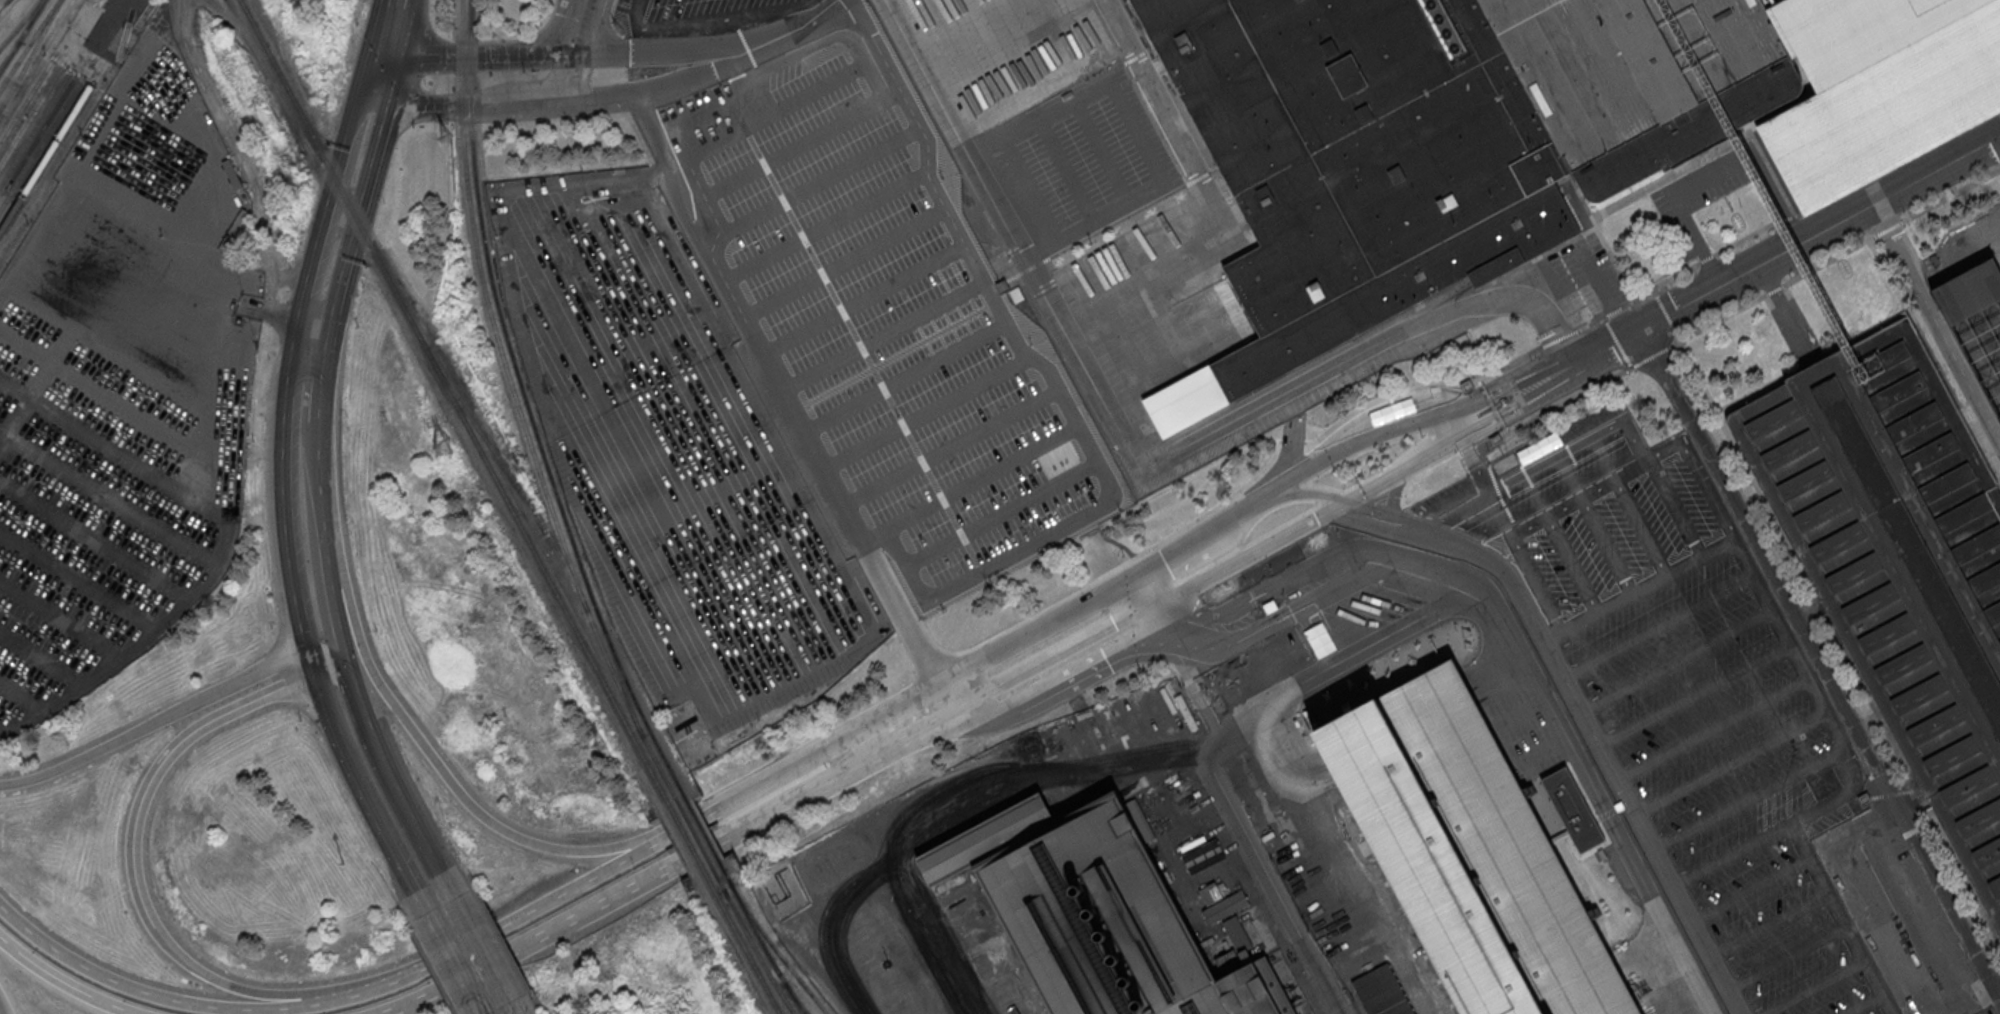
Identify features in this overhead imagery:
railway: (1999, 0)
road: (825, 14)
railway: (472, 15)
parking lot: (701, 16)
road: (712, 18)
railway: (20, 24)
road: (396, 27)
road: (1984, 28)
road: (561, 32)
railway: (22, 35)
railway: (29, 44)
road: (878, 46)
road: (667, 49)
traffic signals: (589, 51)
traffic signals: (535, 52)
railway: (9, 54)
road: (462, 54)
railway: (31, 55)
traffic signals: (390, 55)
road: (587, 56)
road: (749, 77)
road: (681, 81)
road: (880, 90)
building: (1886, 95)
railway: (26, 103)
road: (458, 107)
traffic signals: (386, 110)
road: (777, 112)
railway: (31, 117)
railway: (35, 129)
road: (645, 133)
road: (1137, 133)
power tower: (445, 139)
building: (1443, 139)
railway: (40, 144)
road: (796, 149)
road: (1103, 150)
road: (242, 153)
parking lot: (1085, 156)
railway: (45, 159)
road: (1065, 172)
road: (1713, 172)
road: (820, 182)
parking lot: (1704, 184)
road: (367, 186)
road: (1032, 190)
road: (1207, 196)
road: (1951, 196)
road: (1787, 217)
building: (588, 221)
road: (321, 223)
road: (827, 226)
road: (1889, 229)
road: (1747, 238)
road: (1788, 250)
road: (1612, 255)
road: (1707, 259)
road: (1829, 262)
road: (845, 263)
parking lot: (599, 283)
road: (1660, 284)
road: (1602, 288)
road: (1775, 290)
building: (1968, 290)
road: (999, 307)
road: (284, 312)
road: (1614, 312)
road: (1719, 319)
road: (1591, 323)
road: (1936, 324)
road: (1560, 338)
road: (1617, 342)
road: (763, 352)
road: (1651, 356)
road: (322, 369)
road: (1702, 381)
parking lot: (122, 387)
road: (1420, 388)
road: (786, 389)
road: (1758, 391)
parking lot: (823, 398)
railway: (455, 404)
railway: (530, 413)
railway: (521, 414)
road: (1520, 427)
road: (806, 431)
road: (1464, 436)
road: (1367, 437)
road: (1134, 443)
road: (1576, 446)
power tower: (442, 449)
road: (575, 468)
road: (826, 468)
road: (1700, 470)
railway: (515, 482)
road: (1395, 493)
traffic signals: (1348, 501)
road: (317, 502)
road: (846, 503)
road: (1630, 506)
road: (1675, 507)
road: (1260, 508)
road: (1454, 508)
road: (1003, 514)
road: (1397, 515)
road: (1596, 525)
road: (281, 529)
road: (1384, 529)
road: (866, 540)
road: (1561, 543)
road: (1243, 558)
building: (1899, 562)
road: (1525, 563)
road: (976, 575)
road: (1155, 575)
road: (1640, 590)
traffic signals: (1134, 599)
road: (1250, 600)
road: (904, 619)
road: (334, 620)
road: (1658, 625)
road: (1318, 636)
road: (1115, 652)
traffic signals: (305, 653)
road: (325, 657)
road: (1677, 660)
road: (819, 661)
road: (308, 663)
road: (1819, 664)
road: (1329, 666)
road: (1113, 668)
traffic signals: (312, 674)
road: (986, 675)
railway: (622, 682)
parking lot: (1690, 690)
road: (1694, 694)
road: (357, 701)
road: (1520, 713)
road: (206, 722)
road: (153, 724)
building: (1105, 727)
road: (1712, 727)
parking lot: (1526, 728)
power tower: (600, 744)
road: (1572, 747)
road: (1540, 751)
road: (1608, 759)
road: (1730, 762)
road: (446, 777)
road: (355, 786)
road: (944, 789)
road: (1851, 791)
road: (744, 794)
road: (1749, 799)
road: (404, 807)
building: (1572, 808)
railway: (703, 830)
railway: (694, 835)
railway: (685, 839)
building: (1469, 853)
road: (1731, 855)
road: (136, 870)
road: (1275, 887)
road: (1750, 890)
road: (617, 894)
road: (416, 904)
building: (1224, 905)
building: (1095, 913)
road: (1768, 922)
road: (827, 927)
road: (1887, 929)
road: (486, 935)
railway: (759, 937)
railway: (751, 940)
railway: (741, 941)
road: (477, 942)
road: (1787, 958)
road: (448, 964)
road: (59, 983)
road: (220, 984)
road: (143, 988)
road: (1812, 988)
building: (1383, 992)
railway: (797, 1000)
road: (1862, 1004)
road: (0, 1012)

